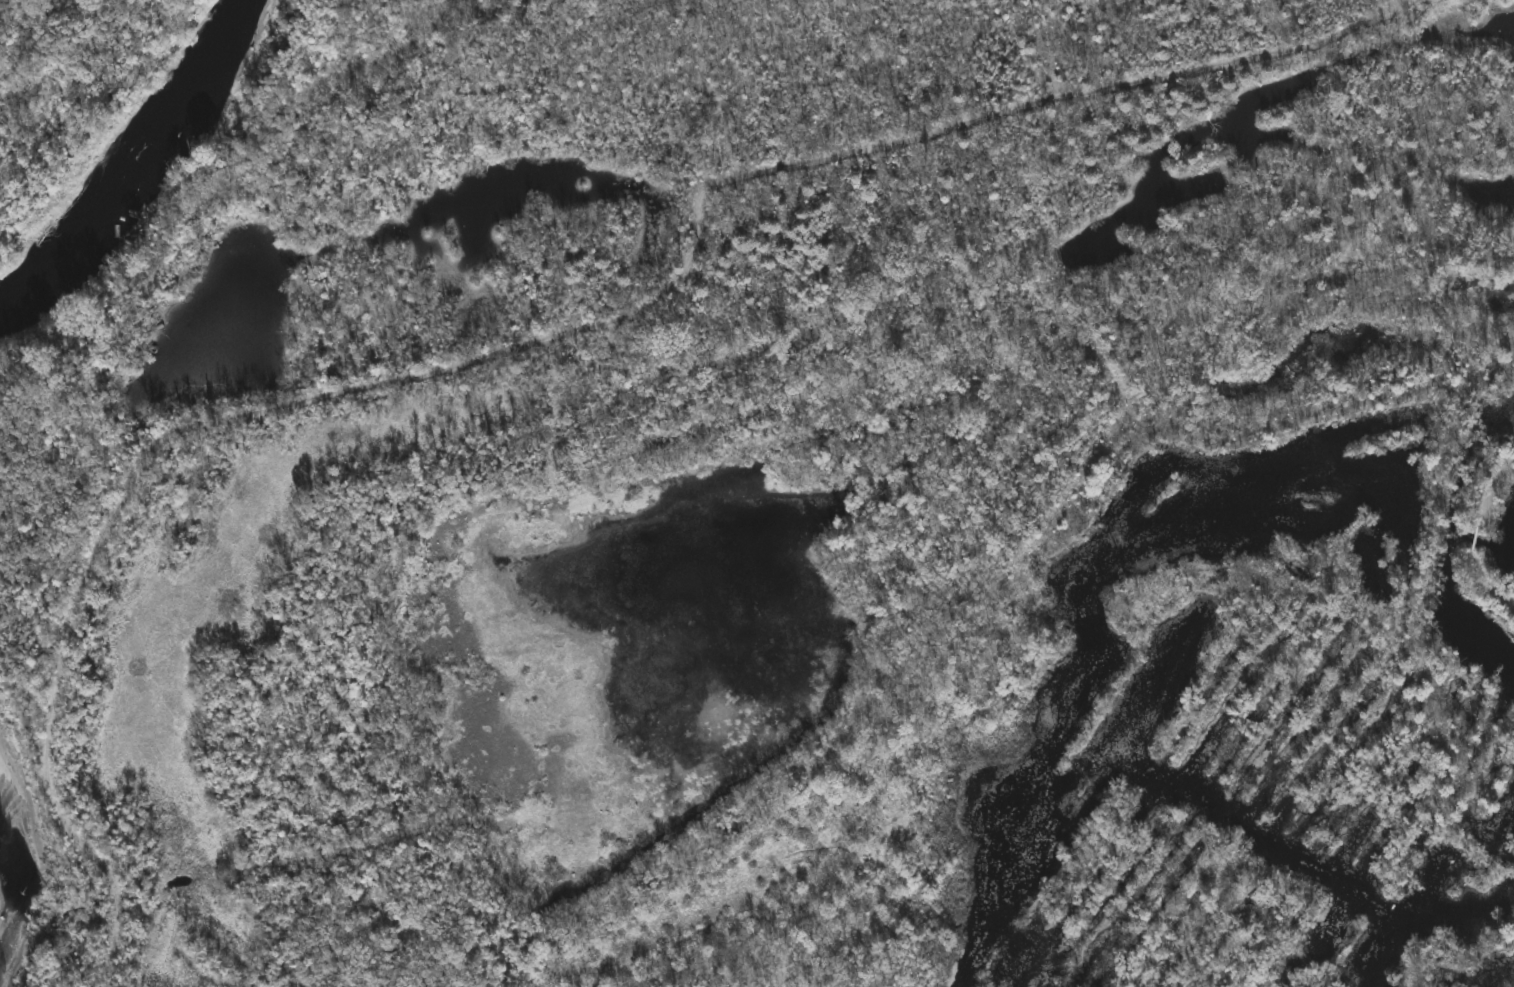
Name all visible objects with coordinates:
river: (149, 165)
river: (10, 857)

